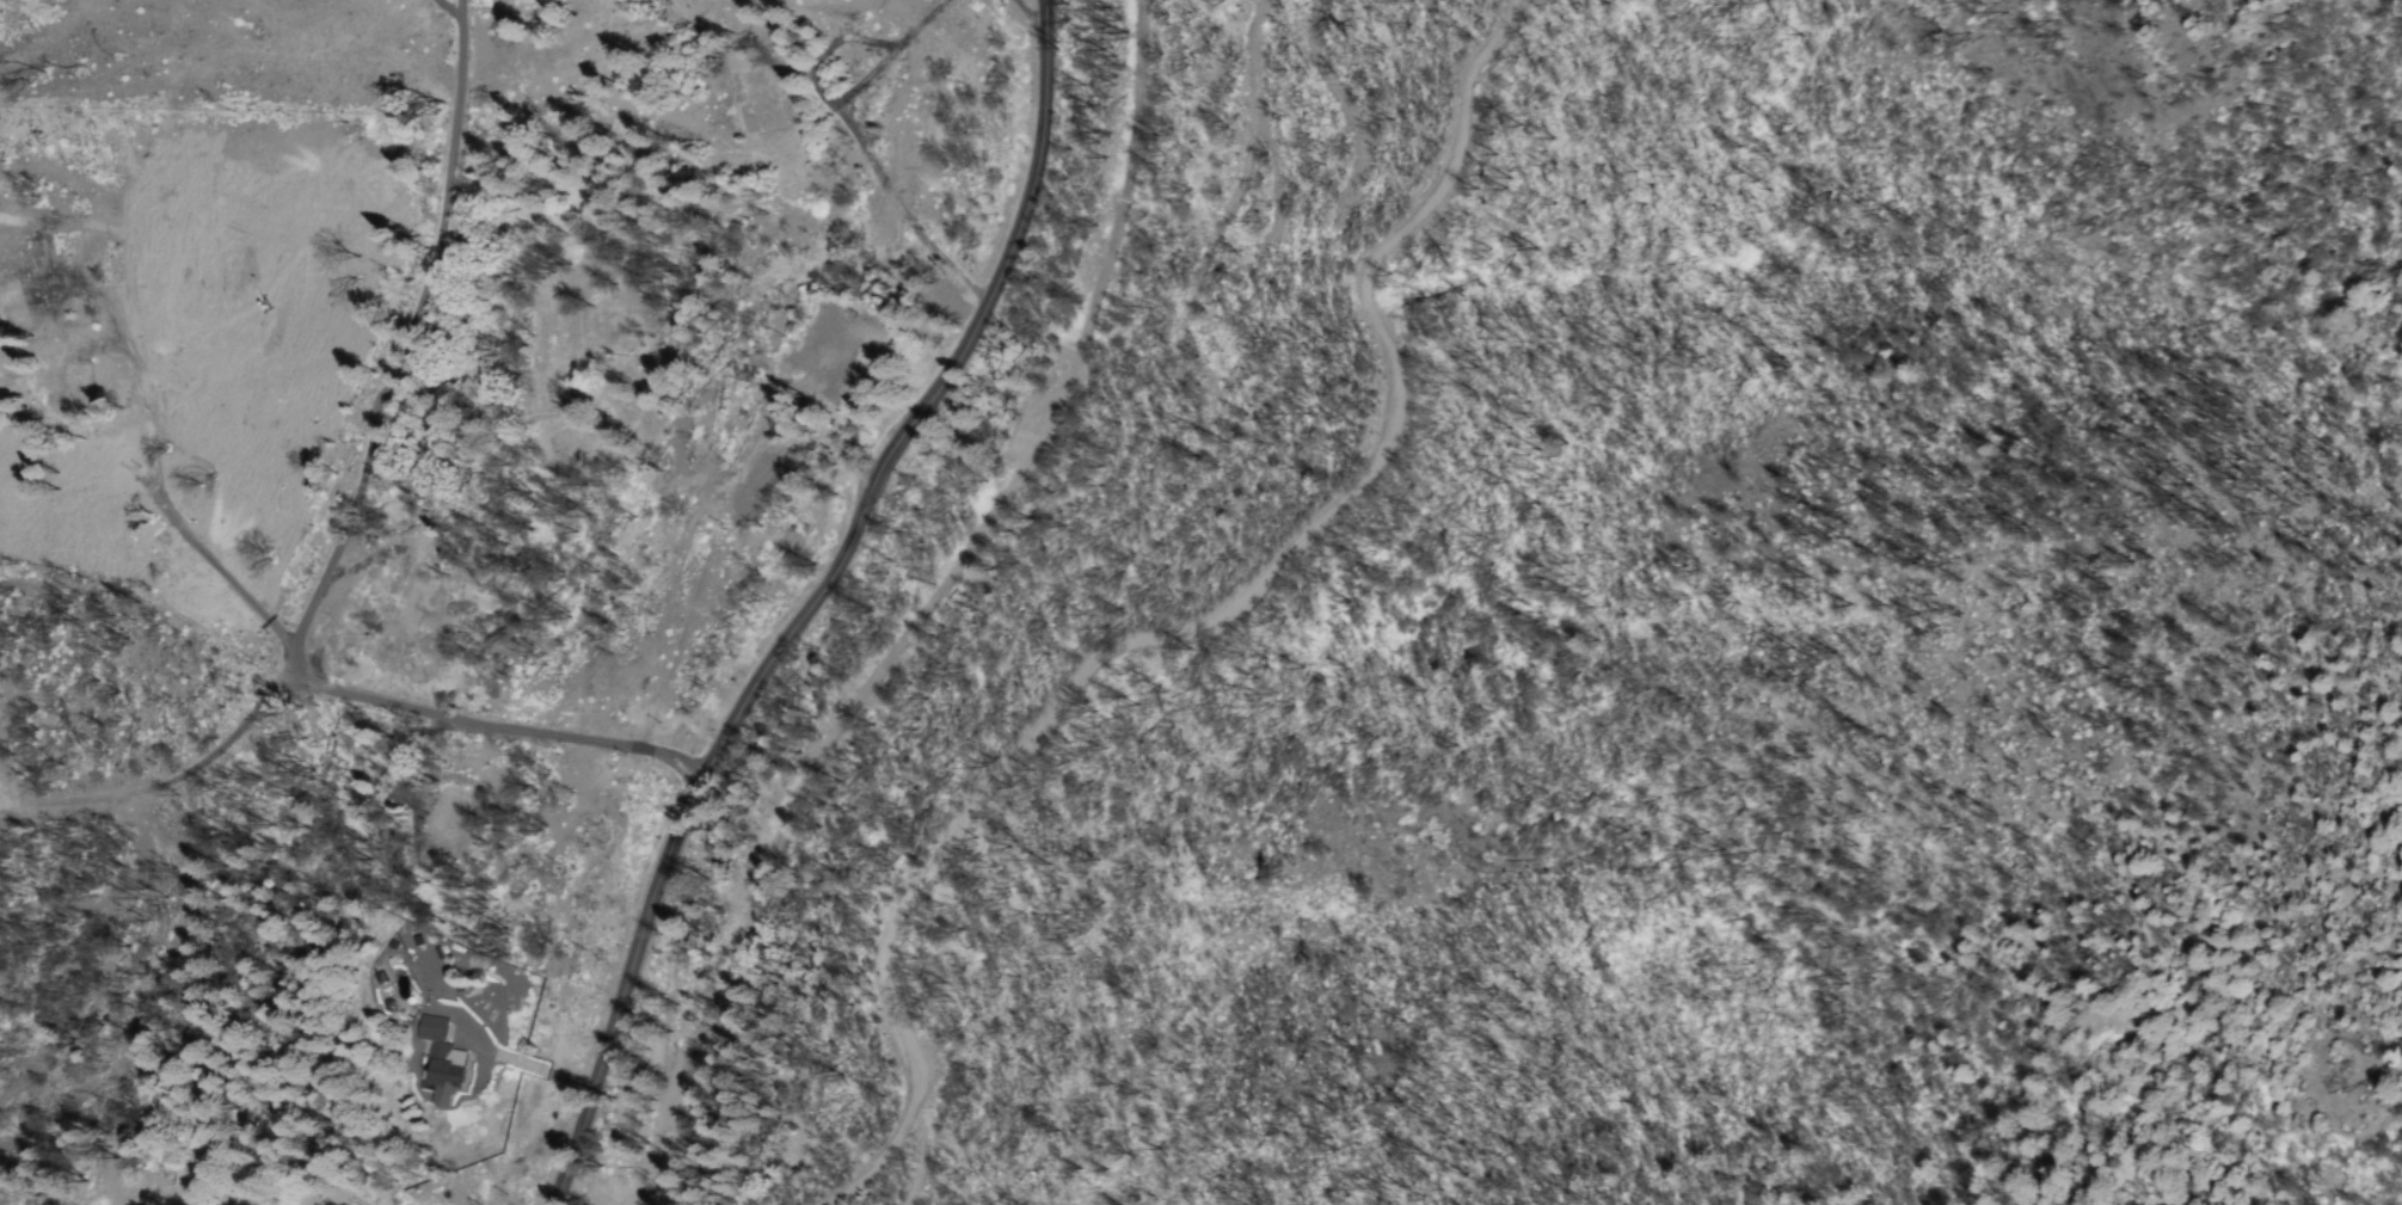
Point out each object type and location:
road: (325, 284)
road: (364, 570)
road: (816, 602)
road: (954, 622)
road: (1192, 628)
building: (437, 1031)
building: (455, 1065)

